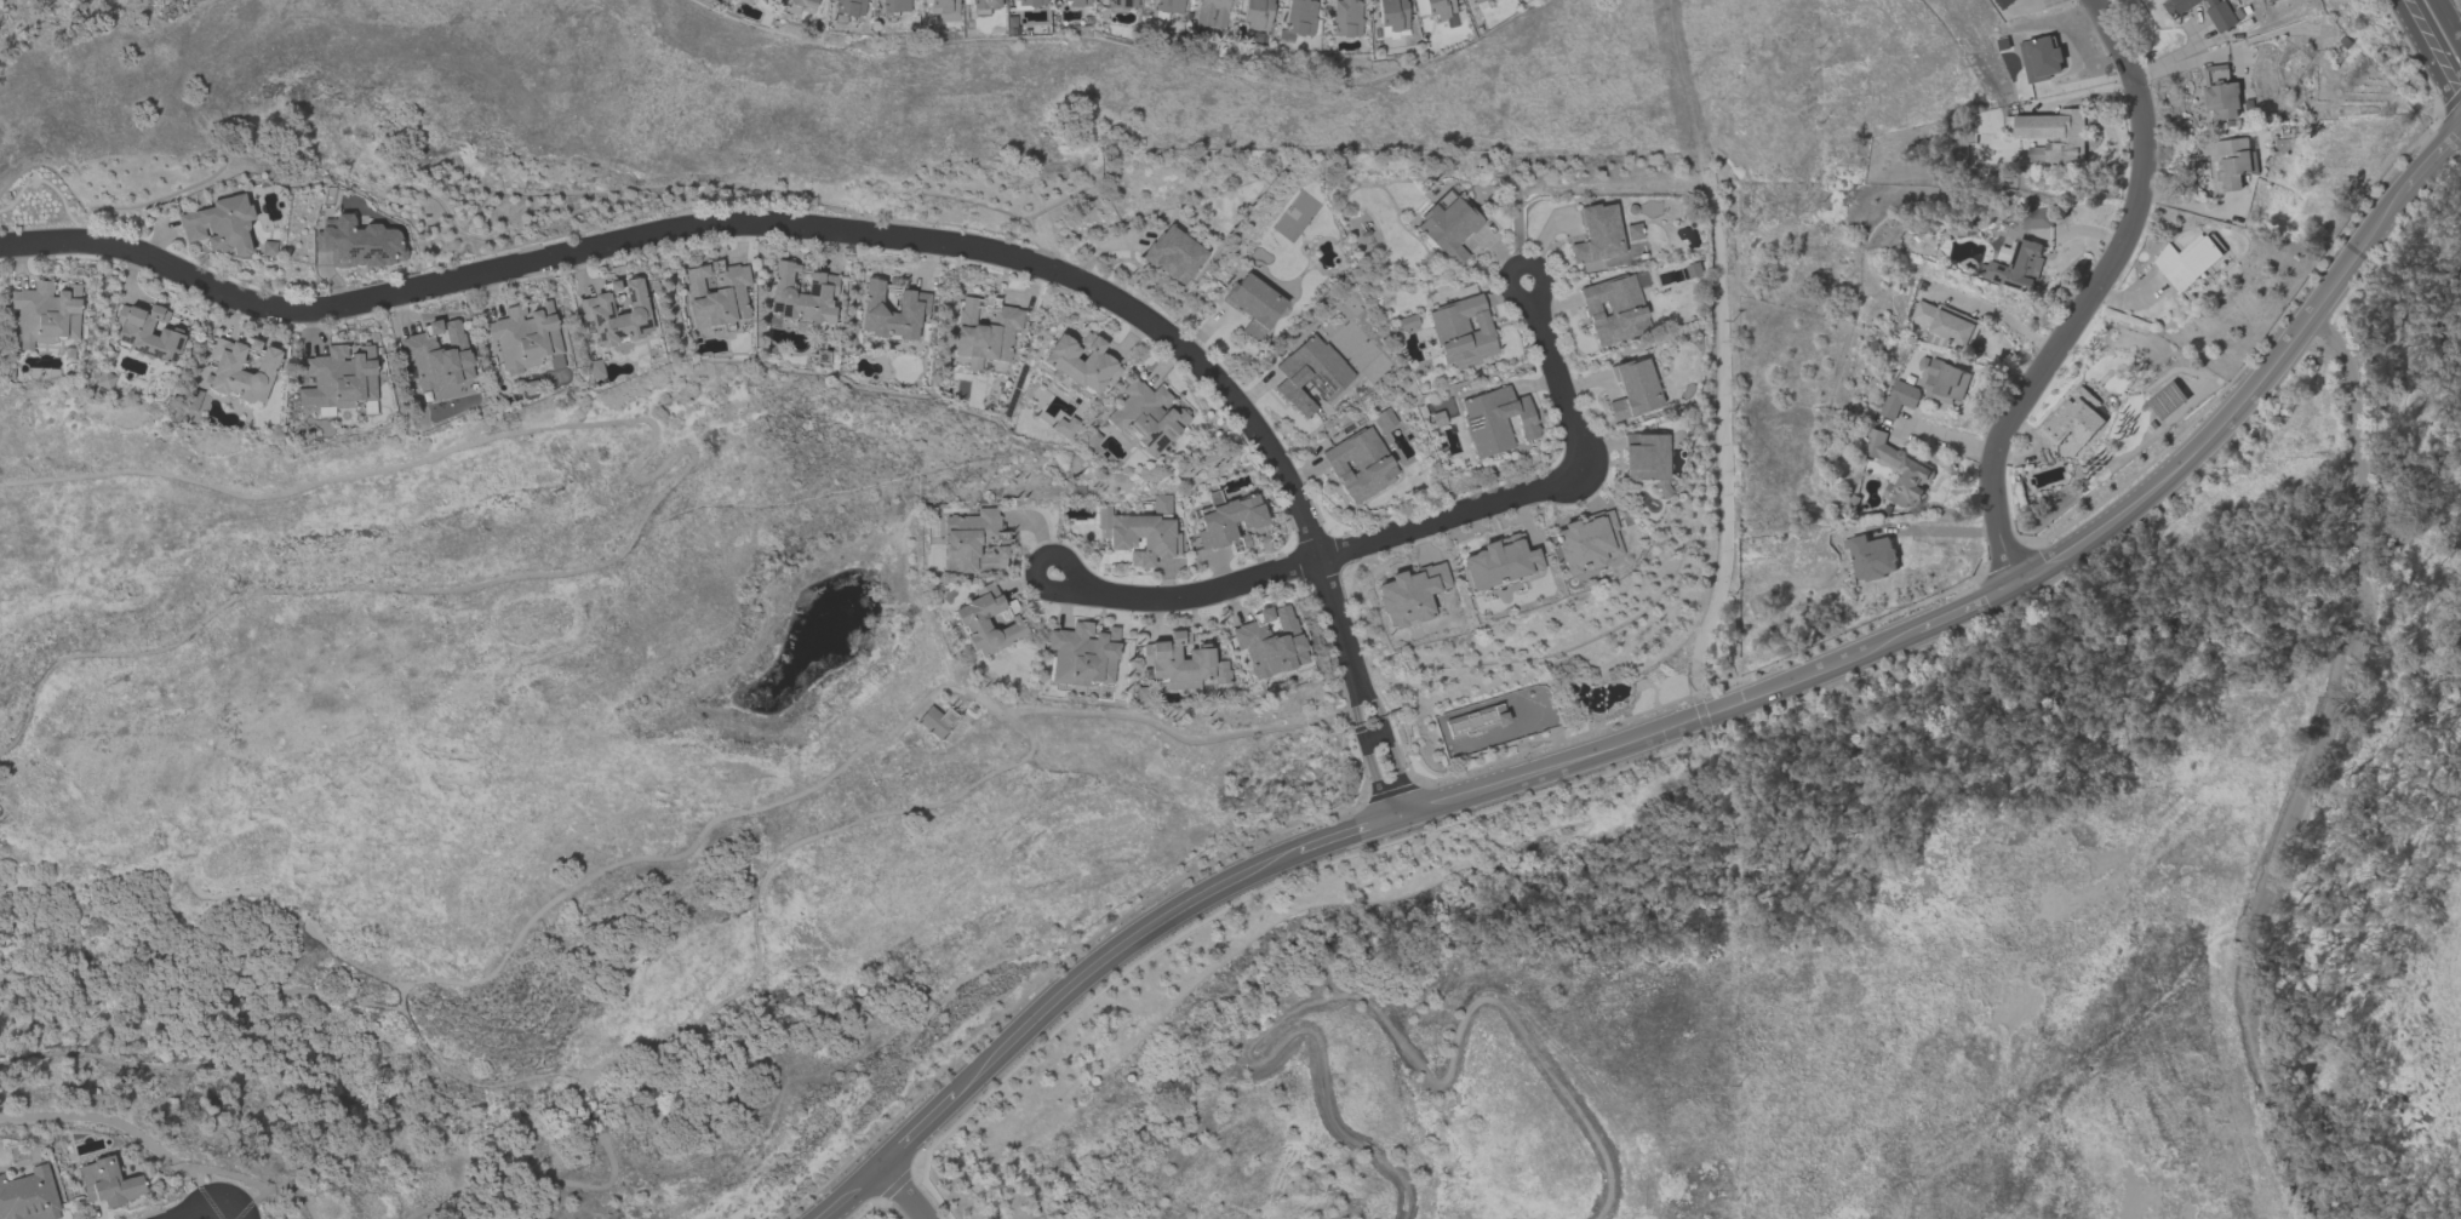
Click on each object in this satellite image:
building: (2271, 0)
building: (1030, 2)
building: (1074, 2)
building: (1999, 2)
building: (803, 4)
building: (984, 4)
building: (1121, 4)
building: (894, 6)
building: (1169, 6)
building: (849, 7)
building: (1436, 10)
building: (2219, 11)
building: (1213, 13)
building: (1257, 15)
building: (1300, 17)
building: (1345, 18)
road: (2446, 23)
road: (2429, 50)
building: (2219, 92)
building: (2051, 136)
building: (2232, 162)
building: (2036, 218)
building: (219, 225)
building: (1447, 227)
road: (722, 228)
building: (1596, 234)
building: (359, 242)
building: (1173, 256)
building: (2187, 261)
building: (2015, 264)
building: (716, 293)
building: (801, 294)
road: (2091, 296)
building: (1253, 305)
building: (1614, 308)
building: (892, 313)
building: (45, 314)
road: (1998, 314)
building: (616, 315)
building: (1942, 322)
building: (1407, 324)
building: (985, 330)
building: (1461, 331)
building: (145, 333)
building: (525, 337)
building: (437, 354)
building: (1082, 364)
building: (228, 372)
building: (1310, 374)
building: (339, 378)
road: (2263, 378)
road: (1556, 379)
building: (1945, 379)
building: (104, 380)
building: (1632, 390)
building: (1898, 397)
building: (191, 400)
building: (1145, 418)
building: (1494, 420)
building: (2072, 420)
road: (1942, 436)
building: (1644, 459)
building: (1360, 464)
road: (687, 467)
building: (1896, 469)
road: (1453, 517)
building: (1227, 521)
road: (1944, 528)
building: (1141, 533)
building: (973, 542)
building: (1587, 543)
building: (1871, 556)
building: (1499, 562)
building: (1410, 595)
road: (1186, 600)
building: (972, 620)
building: (1270, 641)
building: (1082, 654)
building: (1181, 663)
road: (1362, 692)
building: (1141, 694)
building: (1476, 720)
building: (935, 722)
road: (2312, 769)
road: (1, 812)
road: (1373, 830)
park: (505, 842)
road: (127, 1129)
building: (108, 1183)
road: (903, 1191)
building: (28, 1196)
road: (208, 1212)
road: (237, 1212)

